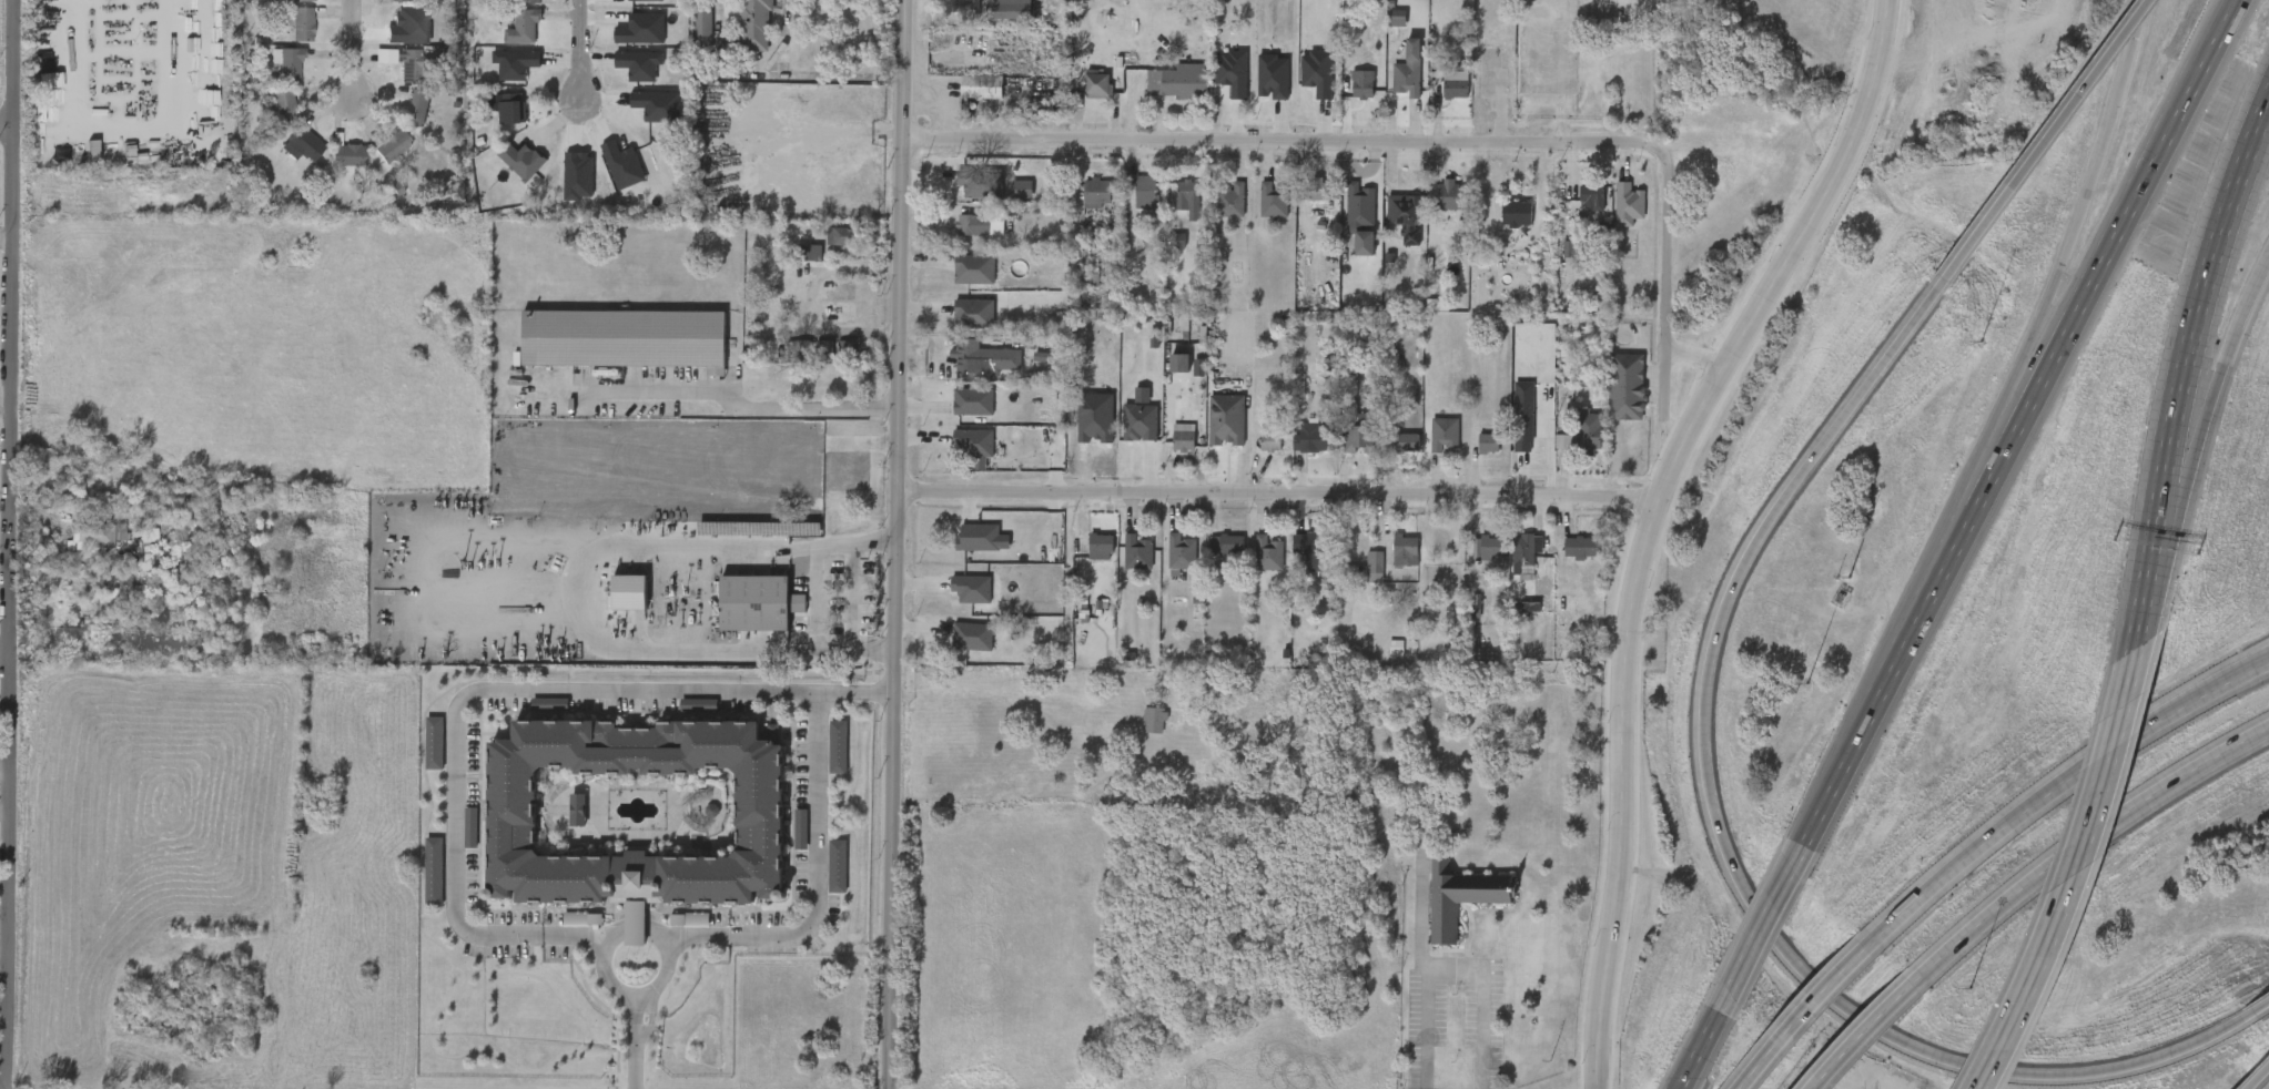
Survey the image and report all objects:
building: (396, 0)
building: (530, 1)
building: (290, 6)
building: (515, 7)
building: (969, 10)
building: (1002, 11)
building: (954, 16)
building: (1169, 20)
building: (702, 22)
building: (302, 23)
building: (754, 24)
building: (524, 27)
building: (1382, 29)
building: (286, 34)
building: (688, 34)
building: (509, 38)
road: (359, 47)
road: (579, 52)
building: (1799, 55)
building: (291, 64)
building: (413, 64)
building: (1407, 70)
road: (1561, 71)
building: (403, 74)
building: (499, 74)
building: (275, 75)
building: (625, 75)
building: (1394, 81)
building: (1175, 82)
building: (1361, 83)
building: (1453, 83)
building: (1491, 83)
building: (1097, 84)
building: (981, 85)
building: (1440, 94)
building: (1083, 95)
building: (1347, 95)
building: (966, 98)
building: (284, 104)
building: (508, 106)
building: (416, 108)
building: (267, 116)
building: (402, 119)
building: (493, 119)
road: (10, 128)
road: (124, 128)
road: (2047, 140)
road: (1267, 141)
building: (304, 143)
building: (392, 145)
building: (348, 154)
building: (291, 155)
building: (377, 157)
building: (333, 166)
building: (506, 171)
building: (1317, 189)
building: (1144, 190)
building: (1096, 192)
building: (1448, 193)
building: (1186, 195)
building: (966, 197)
building: (1273, 197)
building: (1591, 197)
building: (1229, 200)
building: (1303, 200)
building: (1131, 201)
building: (1359, 202)
building: (1628, 203)
building: (1082, 204)
building: (1432, 205)
building: (1577, 208)
road: (2081, 208)
building: (1174, 210)
building: (1217, 212)
building: (1258, 212)
building: (1516, 212)
building: (1405, 215)
building: (1612, 215)
building: (1345, 217)
building: (966, 224)
building: (1501, 224)
building: (1390, 227)
road: (10, 235)
building: (843, 236)
building: (959, 236)
building: (1363, 242)
building: (827, 247)
building: (1349, 254)
building: (1553, 259)
building: (796, 264)
building: (974, 268)
road: (1668, 269)
building: (960, 279)
road: (2204, 283)
road: (809, 296)
building: (972, 312)
building: (959, 325)
building: (624, 337)
road: (1696, 354)
building: (963, 358)
building: (810, 359)
building: (832, 360)
road: (2221, 372)
building: (1164, 374)
building: (1627, 386)
road: (9, 394)
building: (1611, 397)
road: (713, 407)
building: (958, 413)
building: (1226, 419)
building: (1588, 429)
building: (1212, 430)
building: (1444, 432)
road: (2005, 434)
building: (1311, 437)
building: (1359, 437)
building: (1183, 439)
building: (1269, 440)
building: (1408, 441)
building: (1488, 442)
building: (1572, 444)
building: (1429, 445)
building: (1168, 448)
building: (1297, 449)
building: (1346, 450)
building: (1255, 451)
building: (1391, 454)
building: (1473, 454)
building: (959, 456)
road: (1969, 484)
building: (832, 490)
road: (1273, 493)
building: (818, 501)
road: (1647, 518)
building: (90, 535)
road: (17, 544)
road: (893, 544)
building: (1098, 544)
building: (1226, 544)
building: (1491, 544)
building: (79, 547)
building: (963, 548)
building: (1317, 548)
building: (1581, 548)
building: (1406, 549)
building: (1182, 551)
building: (1526, 551)
building: (1137, 552)
building: (1268, 552)
building: (1211, 554)
building: (1286, 556)
building: (1085, 558)
building: (1472, 558)
building: (1567, 558)
building: (166, 561)
building: (1390, 561)
road: (1741, 561)
building: (1166, 562)
building: (1123, 563)
building: (1301, 563)
building: (1253, 564)
road: (2145, 564)
building: (1510, 566)
building: (124, 568)
building: (1359, 572)
road: (575, 594)
road: (854, 598)
road: (817, 599)
building: (956, 599)
building: (758, 602)
building: (636, 615)
building: (1459, 615)
building: (1549, 617)
building: (956, 647)
road: (8, 652)
building: (1380, 658)
road: (644, 692)
road: (869, 692)
road: (832, 693)
building: (535, 715)
building: (683, 715)
building: (1138, 731)
building: (419, 753)
building: (823, 757)
road: (2055, 786)
building: (759, 816)
building: (456, 838)
building: (786, 839)
road: (2081, 843)
building: (822, 876)
road: (2073, 876)
building: (418, 882)
building: (1459, 896)
road: (1756, 919)
building: (564, 929)
building: (675, 929)
road: (605, 954)
road: (1455, 965)
road: (1734, 978)
road: (2262, 1007)
road: (1800, 1017)
road: (1862, 1036)
road: (634, 1042)
road: (1998, 1070)
road: (2261, 1081)

